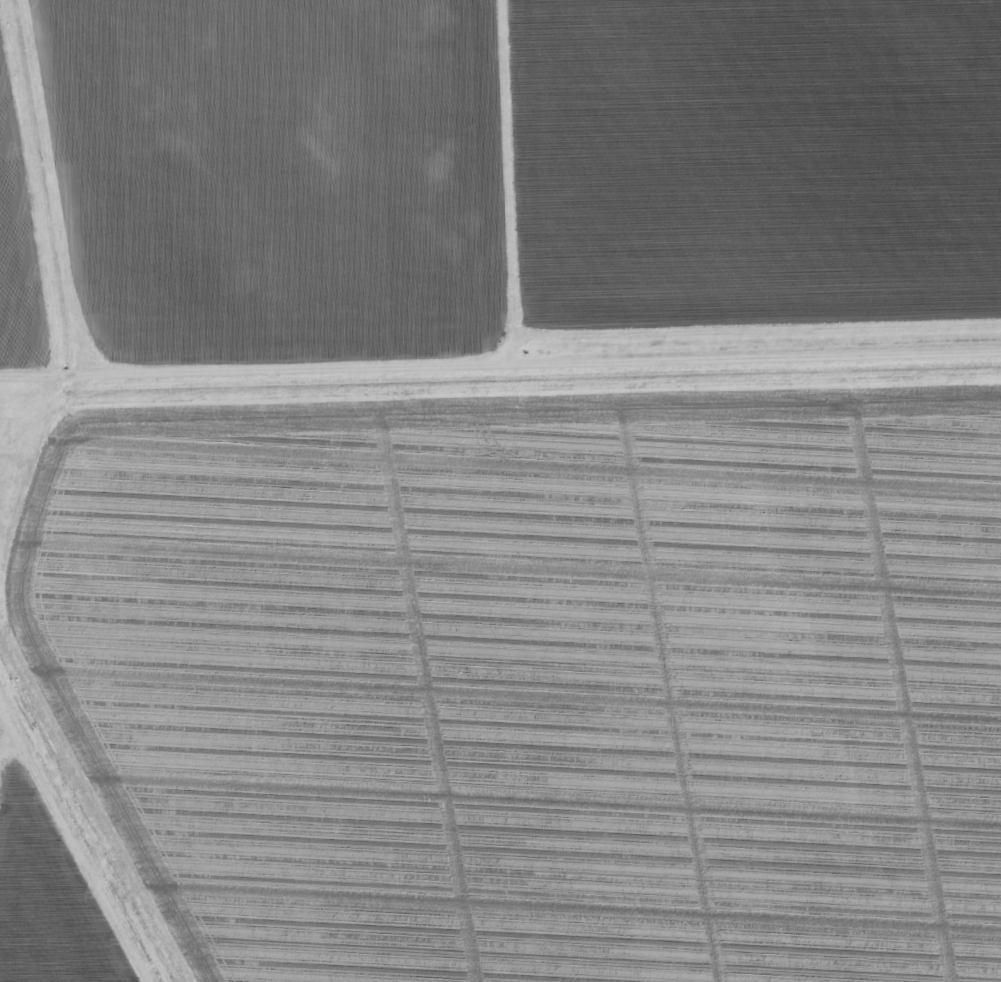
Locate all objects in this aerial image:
road: (513, 180)
road: (370, 366)
road: (75, 377)
road: (73, 846)

